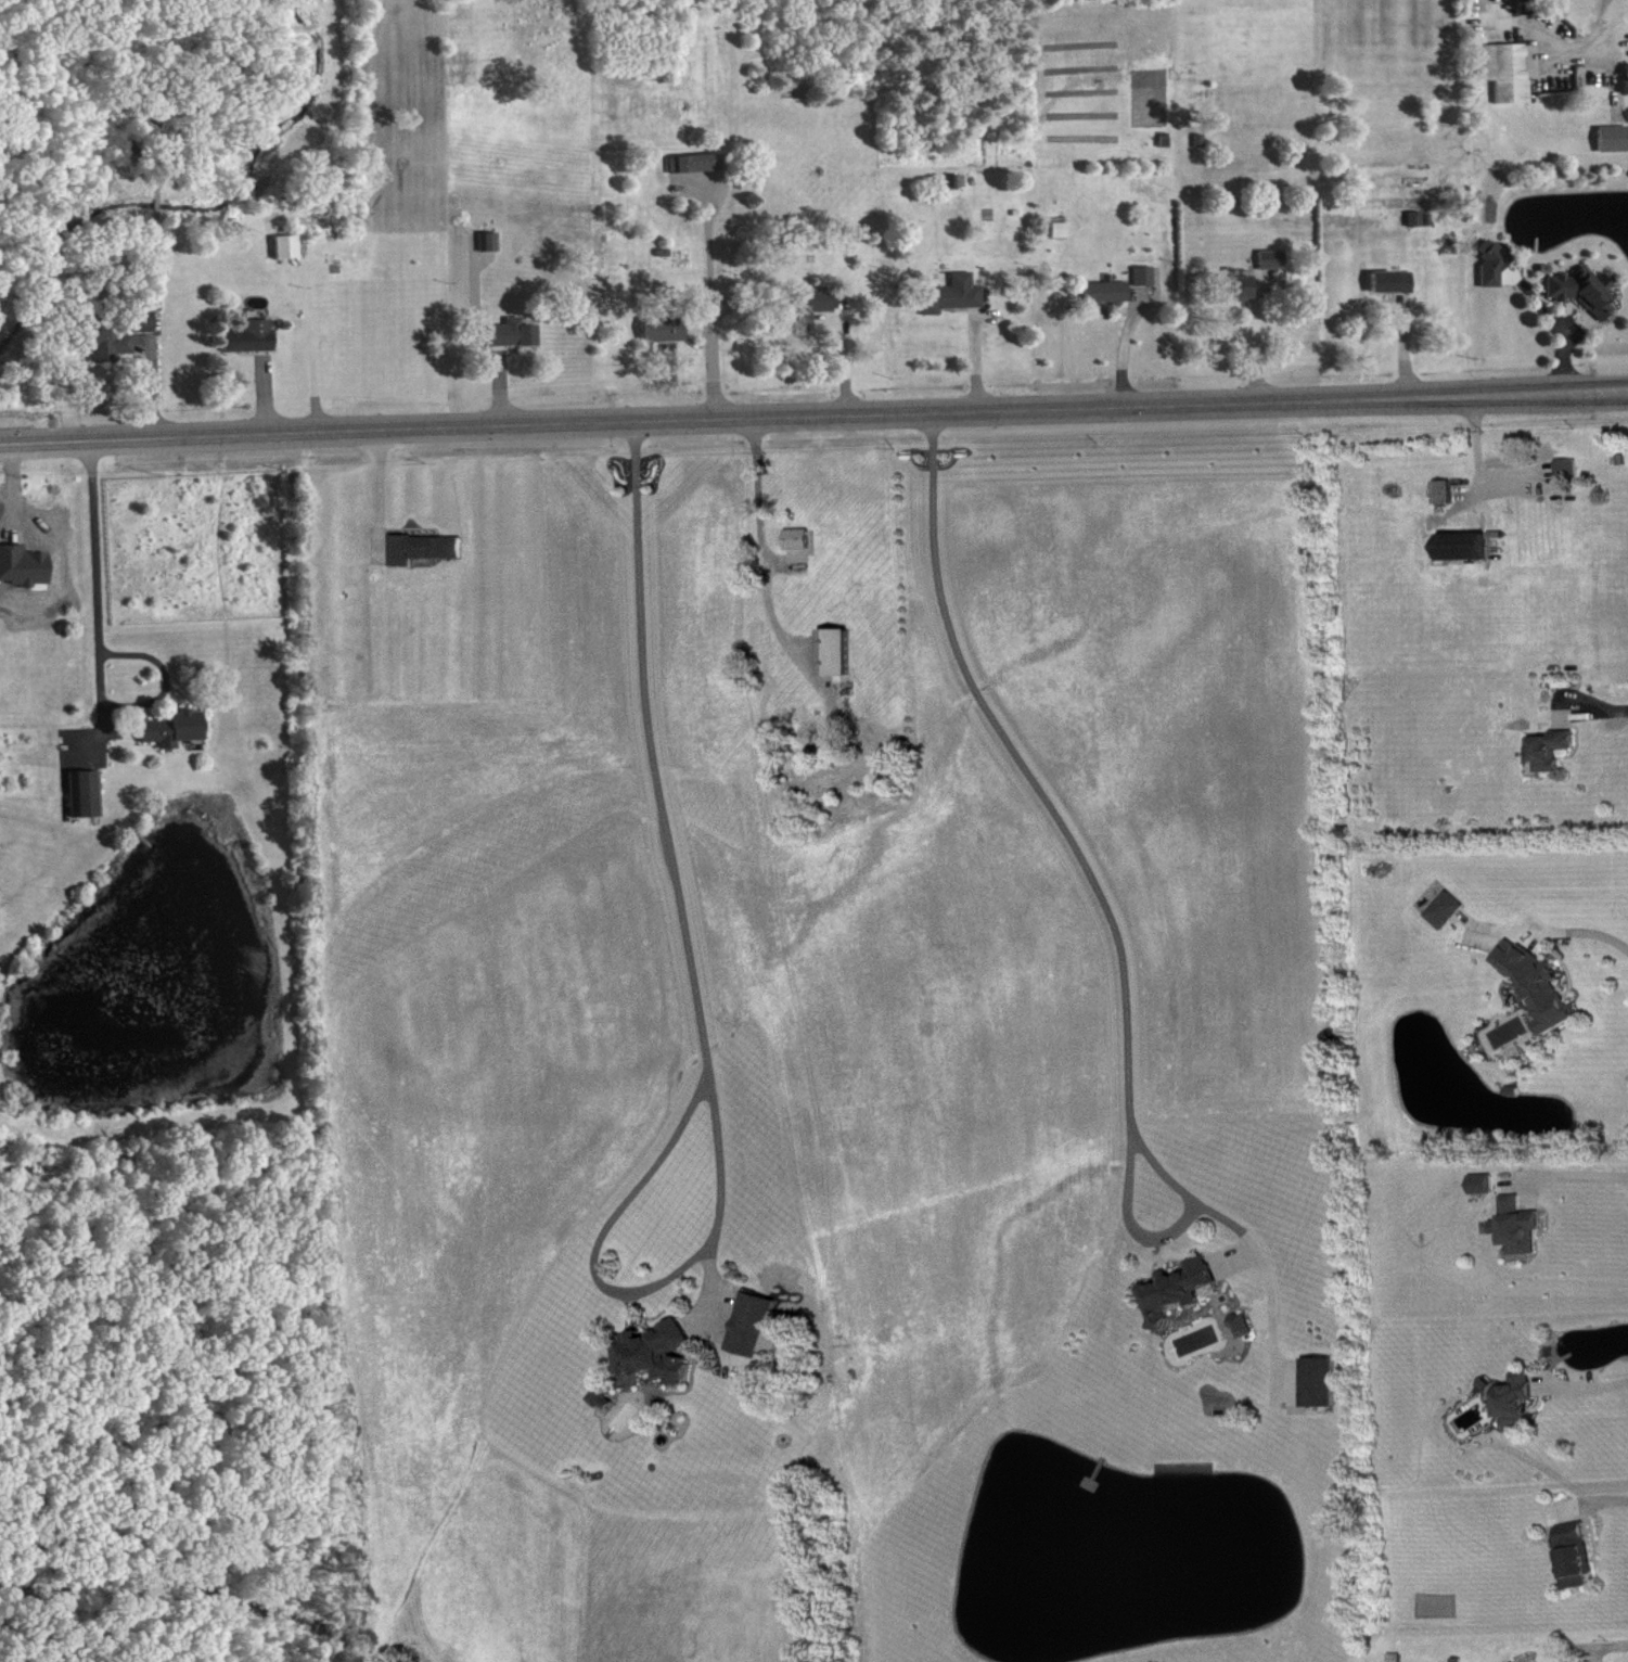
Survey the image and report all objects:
road: (1608, 23)
building: (1507, 71)
building: (1614, 139)
building: (696, 163)
building: (1422, 219)
building: (1062, 230)
building: (491, 242)
building: (289, 246)
building: (1274, 259)
building: (1496, 265)
building: (1146, 276)
building: (1395, 282)
building: (1241, 285)
building: (1586, 291)
building: (1108, 292)
building: (956, 295)
building: (815, 305)
road: (706, 309)
building: (668, 330)
building: (515, 333)
building: (254, 336)
building: (118, 337)
road: (813, 413)
building: (1571, 469)
road: (381, 487)
building: (1446, 491)
road: (759, 535)
building: (803, 539)
building: (1467, 546)
building: (430, 549)
road: (99, 567)
building: (842, 652)
road: (1599, 709)
building: (177, 729)
building: (1555, 750)
building: (88, 794)
road: (1100, 886)
building: (1449, 910)
road: (1585, 930)
building: (1542, 985)
road: (697, 1013)
road: (1576, 1174)
building: (1486, 1184)
building: (1522, 1226)
building: (1182, 1291)
building: (749, 1320)
building: (1246, 1326)
building: (652, 1350)
building: (1324, 1382)
road: (1585, 1384)
building: (597, 1394)
building: (606, 1399)
building: (1522, 1401)
road: (1603, 1498)
building: (1581, 1556)
road: (1602, 1645)
building: (1518, 1661)

